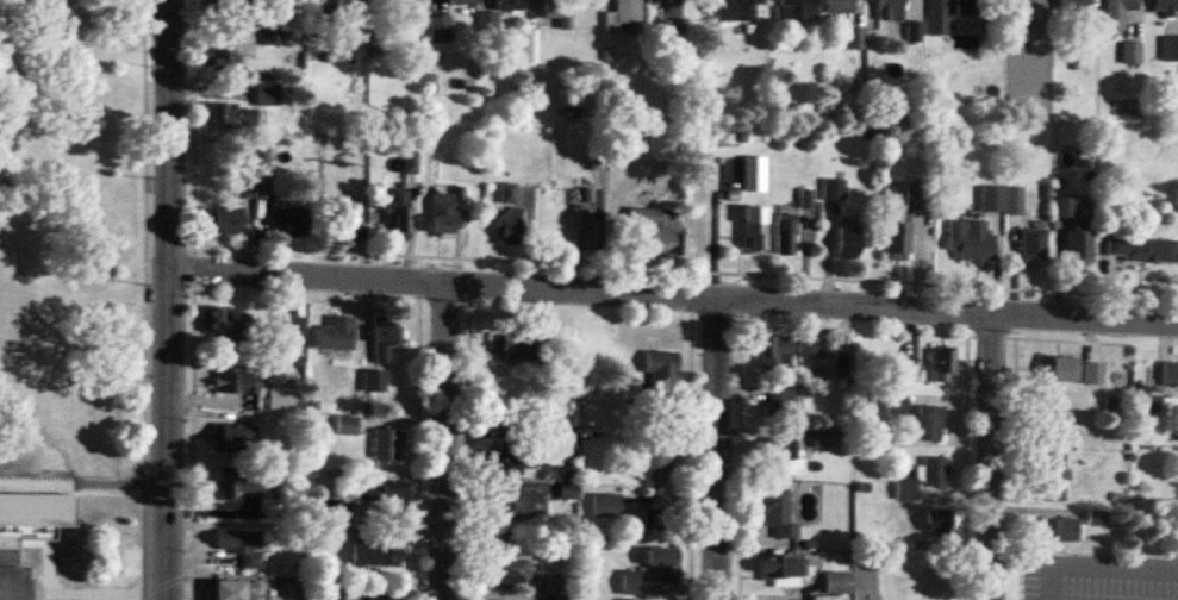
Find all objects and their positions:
building: (462, 1)
building: (411, 4)
building: (507, 4)
building: (1076, 4)
building: (840, 6)
building: (1166, 7)
building: (330, 8)
building: (736, 10)
building: (797, 10)
building: (891, 10)
building: (559, 12)
building: (950, 13)
building: (1118, 13)
building: (623, 14)
building: (275, 17)
building: (440, 29)
building: (914, 32)
building: (855, 38)
building: (1170, 49)
building: (1132, 54)
building: (267, 94)
building: (232, 115)
building: (410, 162)
building: (754, 174)
building: (243, 187)
building: (262, 187)
building: (834, 189)
building: (918, 196)
building: (1002, 200)
building: (1065, 208)
building: (445, 211)
building: (399, 213)
building: (509, 217)
building: (345, 218)
building: (223, 220)
building: (291, 220)
building: (586, 227)
building: (660, 229)
building: (755, 229)
building: (785, 235)
building: (896, 235)
building: (971, 240)
building: (848, 242)
building: (1079, 243)
building: (1033, 245)
building: (1142, 250)
road: (674, 294)
road: (169, 299)
building: (224, 321)
building: (288, 329)
building: (336, 333)
building: (385, 338)
building: (513, 345)
building: (812, 348)
building: (774, 354)
building: (943, 364)
building: (1064, 369)
building: (663, 371)
building: (1093, 374)
building: (1170, 376)
building: (373, 381)
building: (235, 382)
building: (279, 394)
building: (897, 402)
building: (781, 404)
building: (930, 423)
building: (347, 425)
building: (233, 437)
building: (823, 438)
road: (444, 440)
building: (387, 444)
road: (713, 448)
road: (995, 456)
building: (779, 458)
building: (660, 460)
building: (509, 461)
building: (935, 470)
building: (1052, 476)
building: (243, 485)
building: (380, 489)
building: (510, 504)
building: (606, 506)
building: (332, 511)
building: (660, 514)
building: (778, 514)
building: (937, 521)
building: (1059, 530)
building: (241, 546)
building: (376, 554)
building: (663, 563)
road: (1096, 563)
building: (781, 570)
building: (512, 571)
building: (12, 575)
building: (837, 582)
building: (630, 583)
building: (236, 590)
building: (330, 590)
road: (33, 592)

